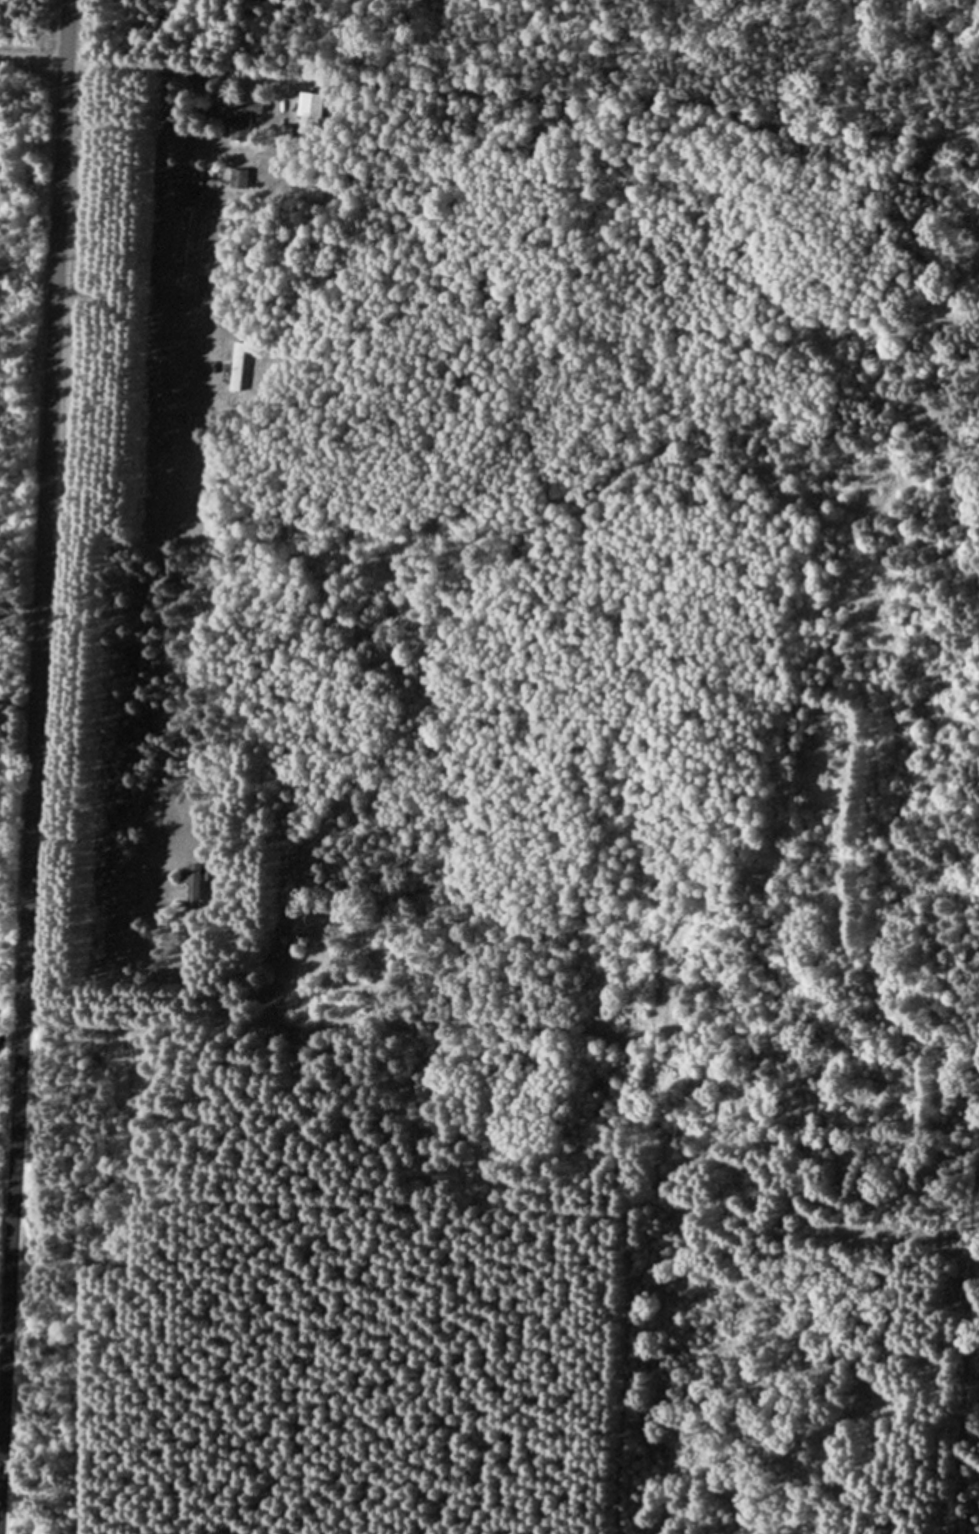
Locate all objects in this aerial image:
road: (32, 64)
building: (313, 105)
building: (240, 119)
building: (235, 179)
building: (234, 369)
road: (27, 730)
building: (194, 884)

